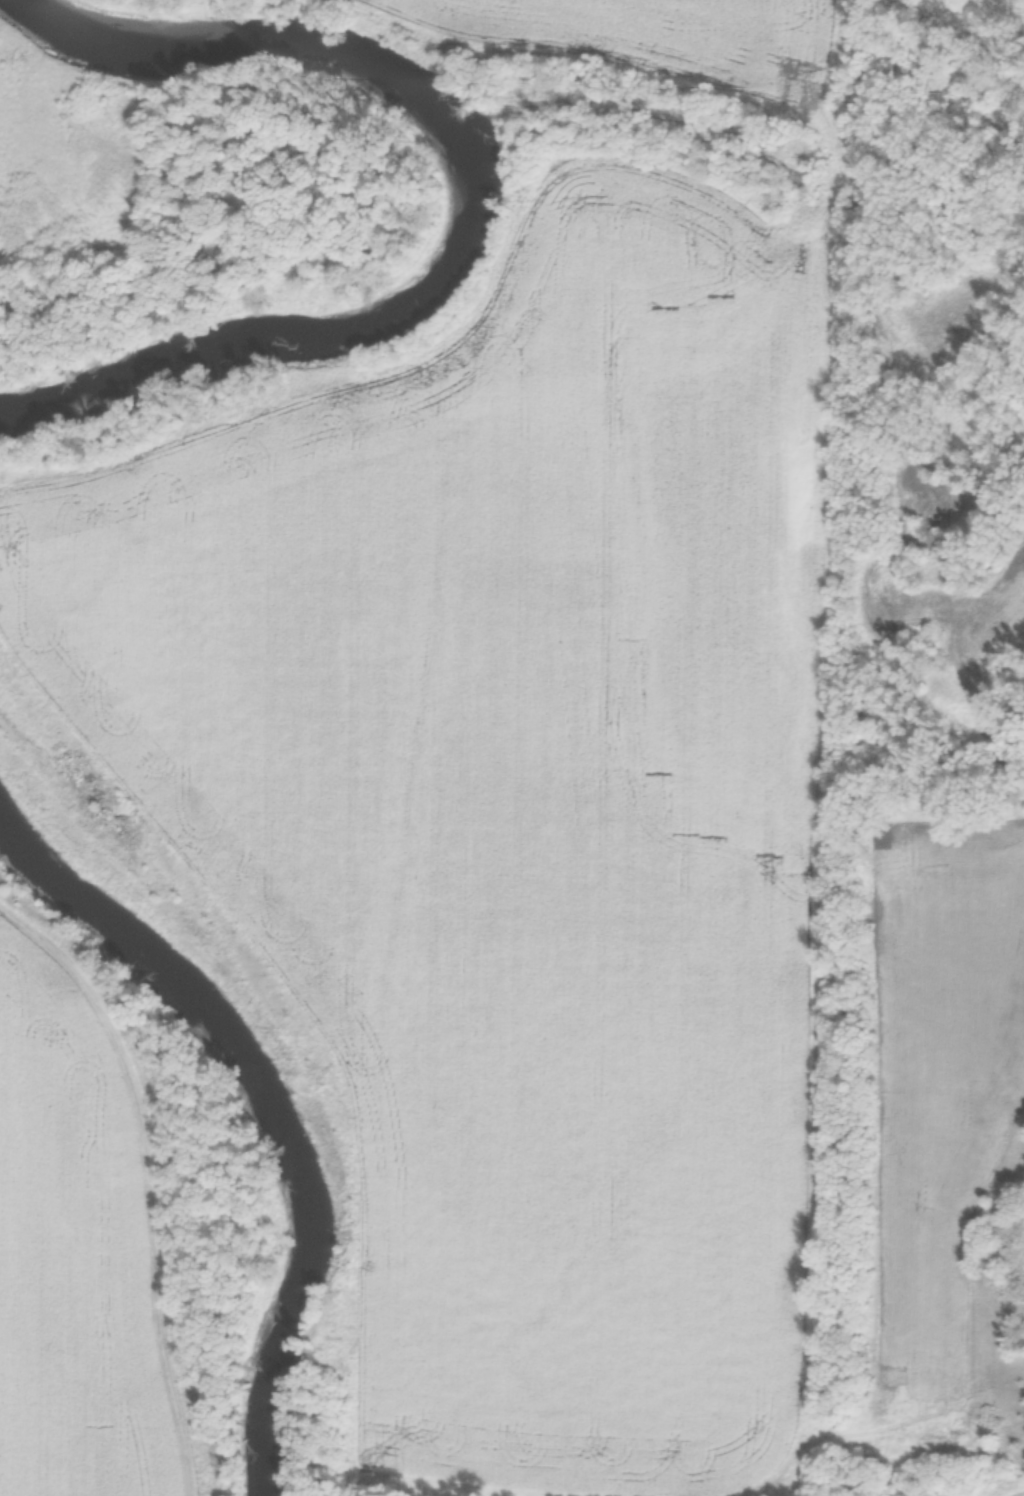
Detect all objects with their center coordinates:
river: (470, 217)
river: (269, 1111)

